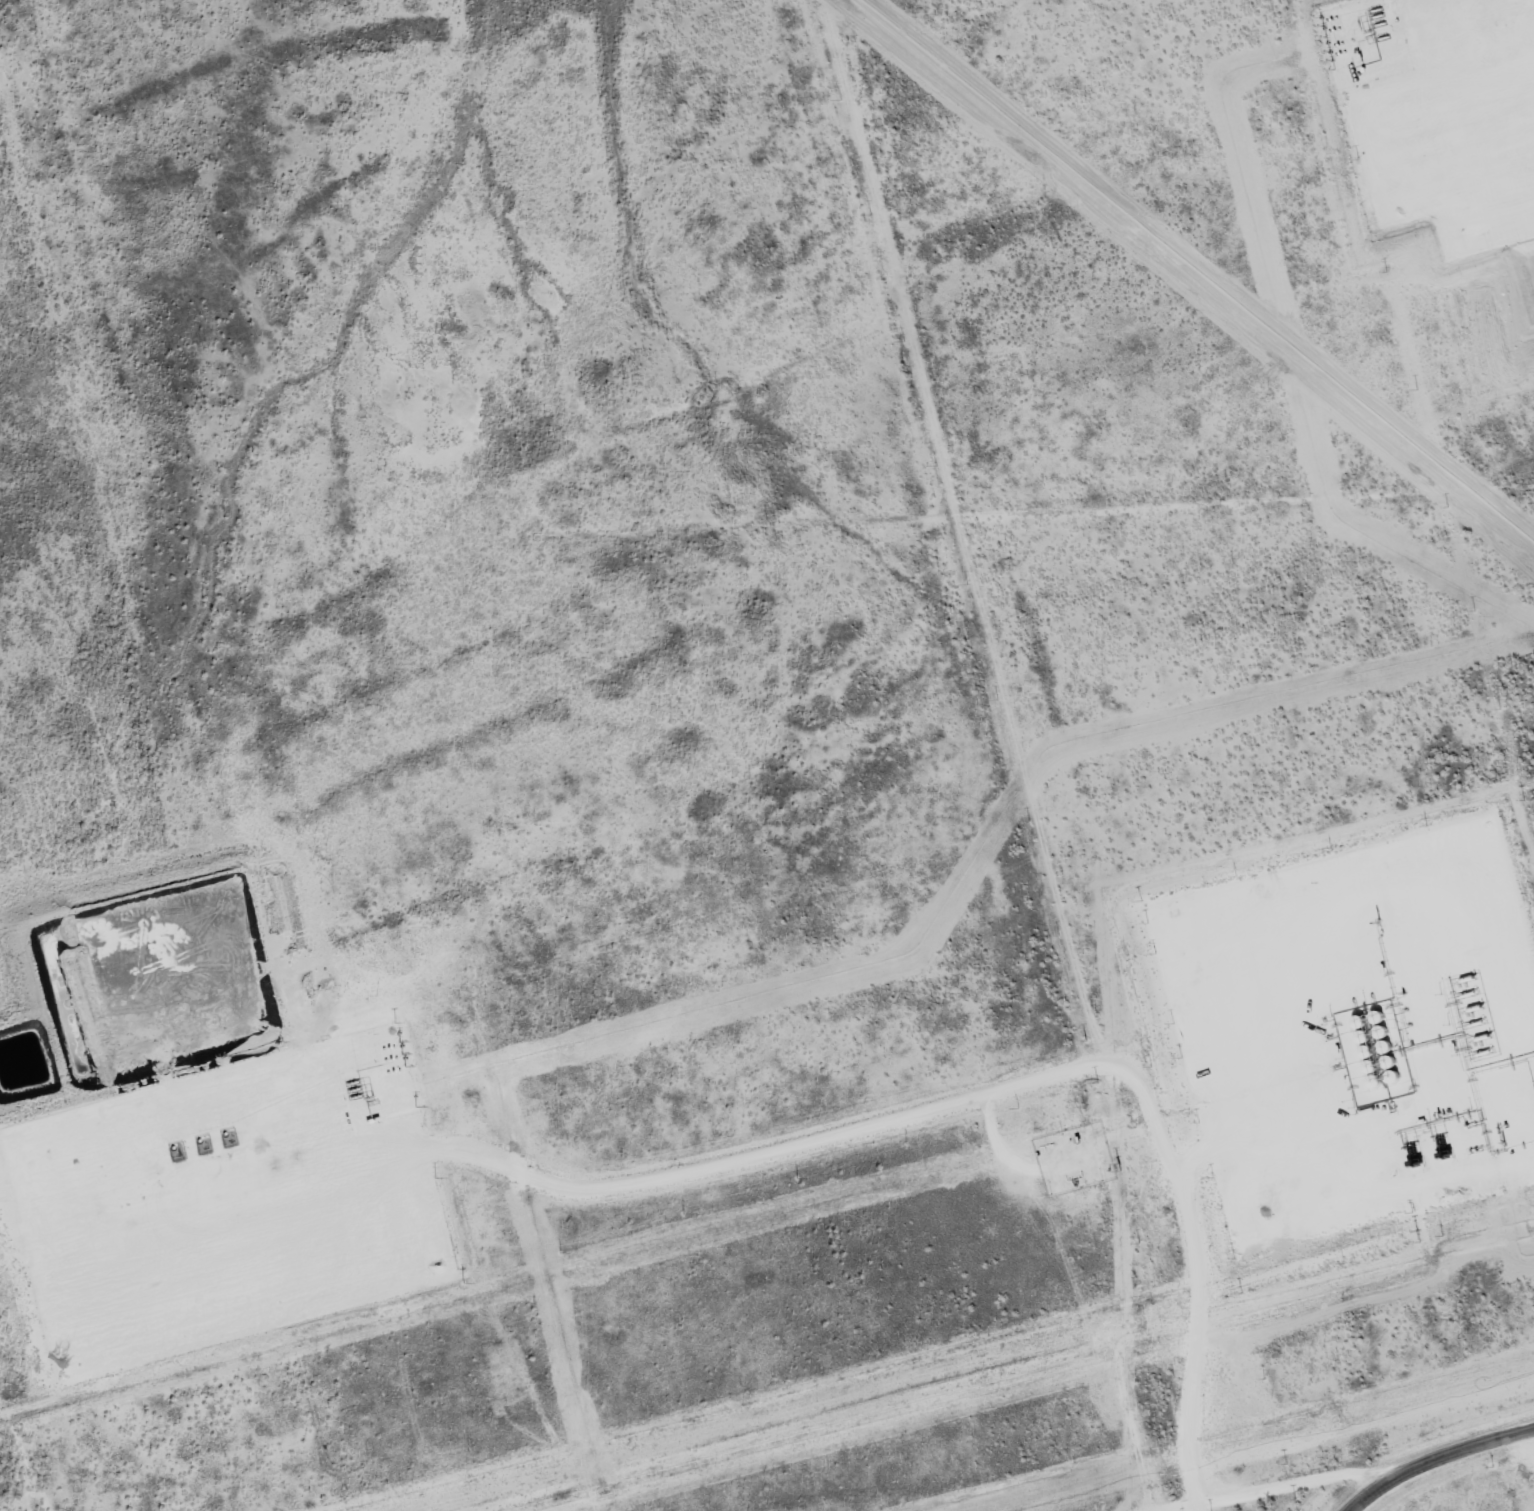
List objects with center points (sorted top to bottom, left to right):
road: (1442, 1485)

